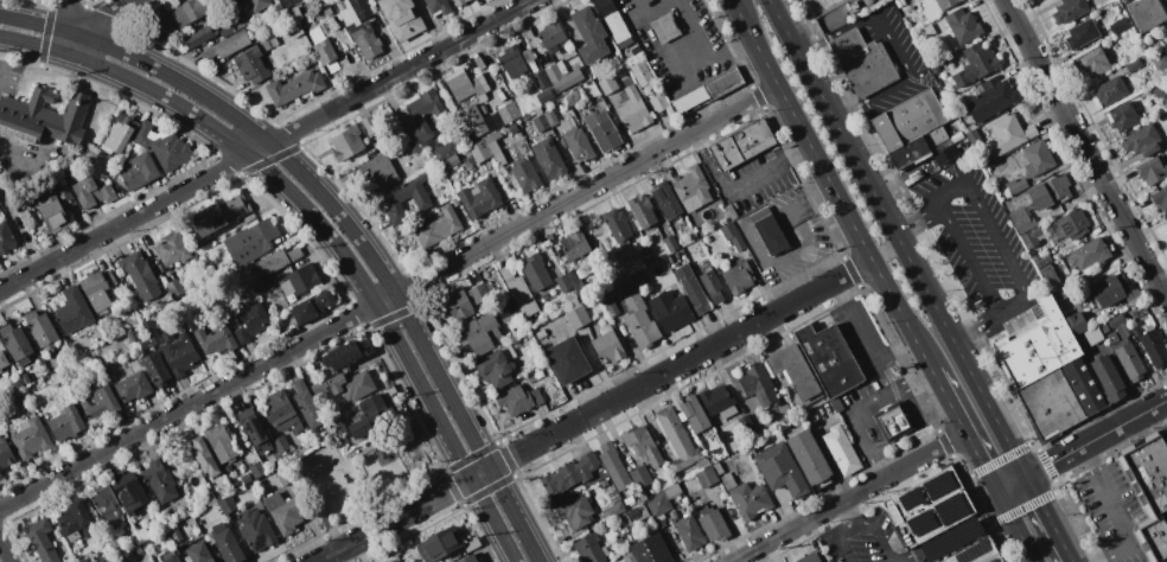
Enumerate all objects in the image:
building: (375, 0)
building: (1122, 0)
building: (235, 2)
building: (288, 2)
building: (459, 2)
building: (903, 4)
building: (946, 4)
building: (259, 5)
building: (438, 6)
building: (356, 7)
building: (327, 9)
building: (1069, 9)
building: (296, 13)
building: (320, 13)
building: (1147, 13)
road: (104, 14)
building: (179, 15)
building: (314, 17)
road: (75, 18)
building: (402, 18)
road: (742, 19)
building: (241, 20)
building: (614, 23)
road: (42, 24)
building: (963, 25)
building: (1118, 25)
road: (783, 26)
building: (665, 27)
building: (294, 30)
building: (929, 30)
road: (836, 31)
building: (1082, 33)
building: (589, 34)
building: (199, 36)
building: (256, 36)
building: (551, 36)
building: (364, 39)
building: (269, 41)
road: (38, 45)
building: (227, 45)
road: (79, 46)
building: (636, 50)
road: (729, 51)
building: (325, 52)
building: (981, 58)
building: (1160, 59)
building: (514, 60)
building: (862, 62)
building: (1095, 62)
building: (944, 63)
building: (251, 65)
building: (1134, 65)
road: (402, 71)
building: (642, 74)
road: (680, 75)
building: (562, 76)
building: (541, 78)
road: (905, 79)
building: (721, 83)
building: (608, 84)
building: (463, 85)
building: (296, 88)
building: (1110, 90)
building: (1159, 92)
building: (544, 95)
building: (574, 97)
building: (990, 98)
building: (688, 101)
building: (659, 103)
building: (634, 110)
building: (509, 113)
building: (550, 116)
building: (44, 117)
building: (1123, 117)
building: (422, 119)
building: (523, 120)
building: (493, 122)
building: (540, 122)
building: (369, 124)
building: (483, 127)
building: (912, 129)
building: (604, 130)
building: (516, 132)
building: (1007, 134)
building: (117, 136)
building: (575, 136)
building: (1142, 141)
building: (347, 142)
building: (740, 145)
building: (162, 146)
building: (495, 147)
road: (259, 148)
building: (444, 151)
building: (479, 151)
road: (1085, 151)
road: (23, 152)
road: (797, 152)
building: (549, 158)
building: (1037, 158)
building: (449, 161)
road: (709, 164)
building: (380, 170)
building: (139, 171)
building: (1152, 171)
building: (525, 174)
road: (755, 175)
building: (0, 183)
building: (1015, 185)
building: (1059, 187)
building: (691, 189)
road: (586, 191)
building: (93, 192)
building: (1038, 196)
building: (65, 198)
building: (479, 198)
building: (665, 199)
building: (1160, 199)
building: (391, 200)
road: (802, 200)
building: (454, 202)
road: (841, 205)
building: (52, 210)
building: (642, 210)
building: (731, 211)
building: (219, 215)
building: (1021, 219)
road: (123, 221)
road: (918, 221)
building: (1073, 224)
building: (1166, 224)
building: (617, 225)
building: (439, 226)
building: (1166, 228)
building: (769, 230)
building: (731, 236)
building: (6, 237)
building: (1031, 237)
building: (255, 238)
road: (997, 241)
building: (575, 243)
building: (671, 243)
building: (172, 248)
road: (364, 249)
road: (885, 251)
building: (1088, 254)
building: (646, 256)
building: (671, 258)
road: (967, 258)
road: (347, 260)
building: (1042, 260)
building: (274, 262)
road: (911, 264)
building: (536, 272)
building: (140, 275)
building: (738, 276)
building: (639, 279)
building: (300, 280)
building: (575, 280)
building: (710, 282)
building: (1052, 282)
building: (127, 283)
building: (563, 283)
building: (264, 285)
building: (629, 285)
building: (693, 288)
road: (956, 288)
building: (98, 289)
building: (176, 289)
building: (1110, 289)
building: (518, 290)
road: (842, 292)
building: (479, 293)
road: (384, 298)
building: (575, 301)
building: (457, 305)
building: (165, 306)
building: (312, 306)
building: (612, 307)
building: (670, 309)
building: (74, 311)
building: (506, 311)
building: (578, 317)
building: (251, 321)
building: (639, 321)
building: (1076, 322)
building: (1120, 325)
road: (976, 328)
building: (43, 330)
building: (151, 331)
building: (480, 333)
road: (865, 333)
building: (130, 336)
building: (1092, 336)
building: (215, 338)
building: (17, 341)
building: (608, 345)
building: (1037, 347)
building: (1154, 347)
building: (179, 353)
road: (899, 355)
building: (342, 356)
building: (1127, 357)
building: (829, 358)
building: (4, 360)
building: (567, 360)
building: (497, 366)
building: (155, 368)
building: (796, 372)
building: (540, 373)
road: (918, 377)
building: (1108, 378)
building: (134, 385)
building: (345, 385)
building: (759, 385)
building: (1084, 385)
building: (18, 387)
building: (388, 391)
building: (547, 395)
building: (518, 400)
building: (719, 402)
building: (102, 403)
road: (187, 404)
building: (306, 404)
building: (1050, 404)
road: (853, 409)
road: (594, 411)
building: (281, 413)
building: (694, 414)
building: (371, 415)
building: (894, 421)
building: (66, 422)
building: (337, 424)
road: (964, 429)
building: (255, 432)
road: (1097, 438)
building: (31, 439)
building: (677, 439)
building: (222, 443)
building: (280, 443)
building: (642, 445)
building: (842, 449)
building: (6, 454)
building: (204, 456)
building: (810, 459)
building: (280, 460)
building: (701, 465)
building: (614, 466)
building: (718, 467)
building: (257, 470)
traffic signals: (490, 470)
building: (780, 470)
road: (882, 470)
park: (359, 472)
building: (285, 475)
building: (569, 475)
building: (640, 475)
building: (676, 477)
building: (707, 477)
traffic signals: (1027, 477)
building: (247, 478)
traffic signals: (471, 479)
building: (159, 480)
building: (727, 480)
building: (604, 483)
road: (1010, 484)
building: (130, 487)
building: (1148, 490)
building: (672, 491)
traffic signals: (995, 492)
building: (614, 497)
building: (210, 498)
road: (849, 498)
building: (751, 499)
road: (1146, 500)
building: (658, 504)
building: (228, 505)
building: (927, 506)
building: (107, 507)
road: (1134, 509)
building: (612, 510)
parking lot: (1114, 510)
road: (1118, 510)
building: (576, 511)
building: (285, 512)
road: (852, 513)
building: (634, 516)
road: (1050, 518)
building: (76, 521)
building: (713, 523)
road: (861, 524)
road: (1014, 526)
building: (256, 530)
building: (689, 532)
building: (176, 534)
parking lot: (863, 539)
building: (42, 541)
building: (225, 543)
building: (445, 544)
building: (115, 547)
building: (139, 549)
building: (591, 549)
building: (651, 549)
road: (4, 553)
building: (199, 553)
building: (977, 553)
building: (629, 557)
building: (809, 557)
building: (172, 558)
building: (468, 558)
building: (1163, 560)
building: (394, 561)
road: (904, 561)
road: (906, 561)

